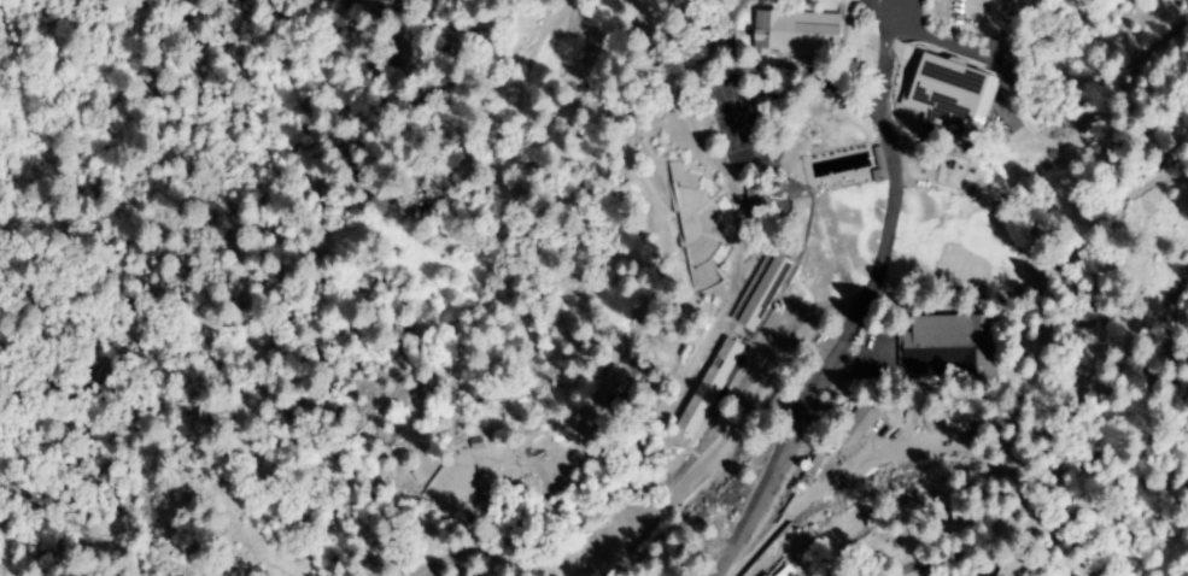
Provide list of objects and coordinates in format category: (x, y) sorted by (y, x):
building: (798, 34)
building: (954, 98)
building: (880, 165)
building: (755, 202)
road: (868, 254)
building: (766, 293)
building: (1082, 315)
building: (952, 346)
building: (889, 349)
building: (710, 388)
building: (964, 421)
building: (855, 430)
building: (1007, 445)
road: (715, 524)
building: (1017, 569)
building: (788, 572)
building: (767, 575)

